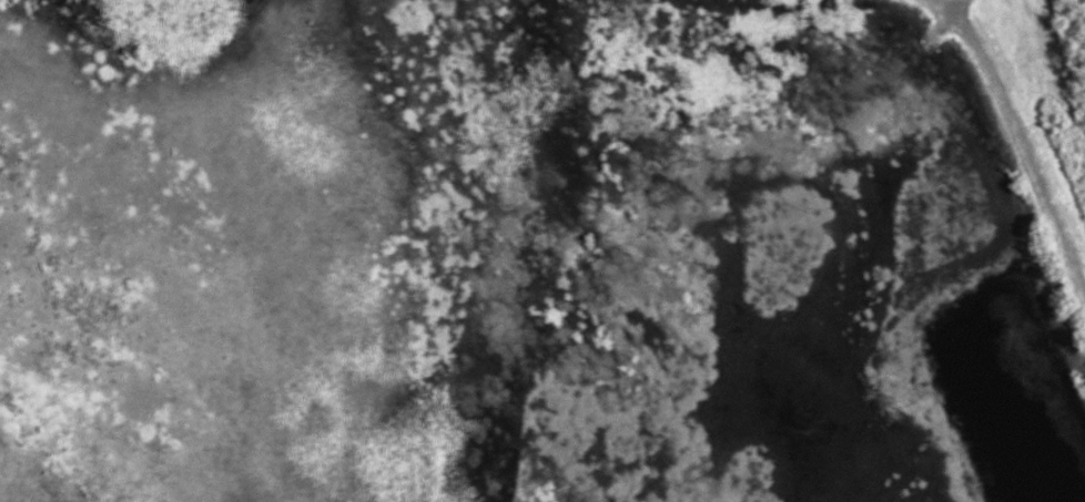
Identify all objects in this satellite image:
road: (962, 3)
road: (1020, 140)

